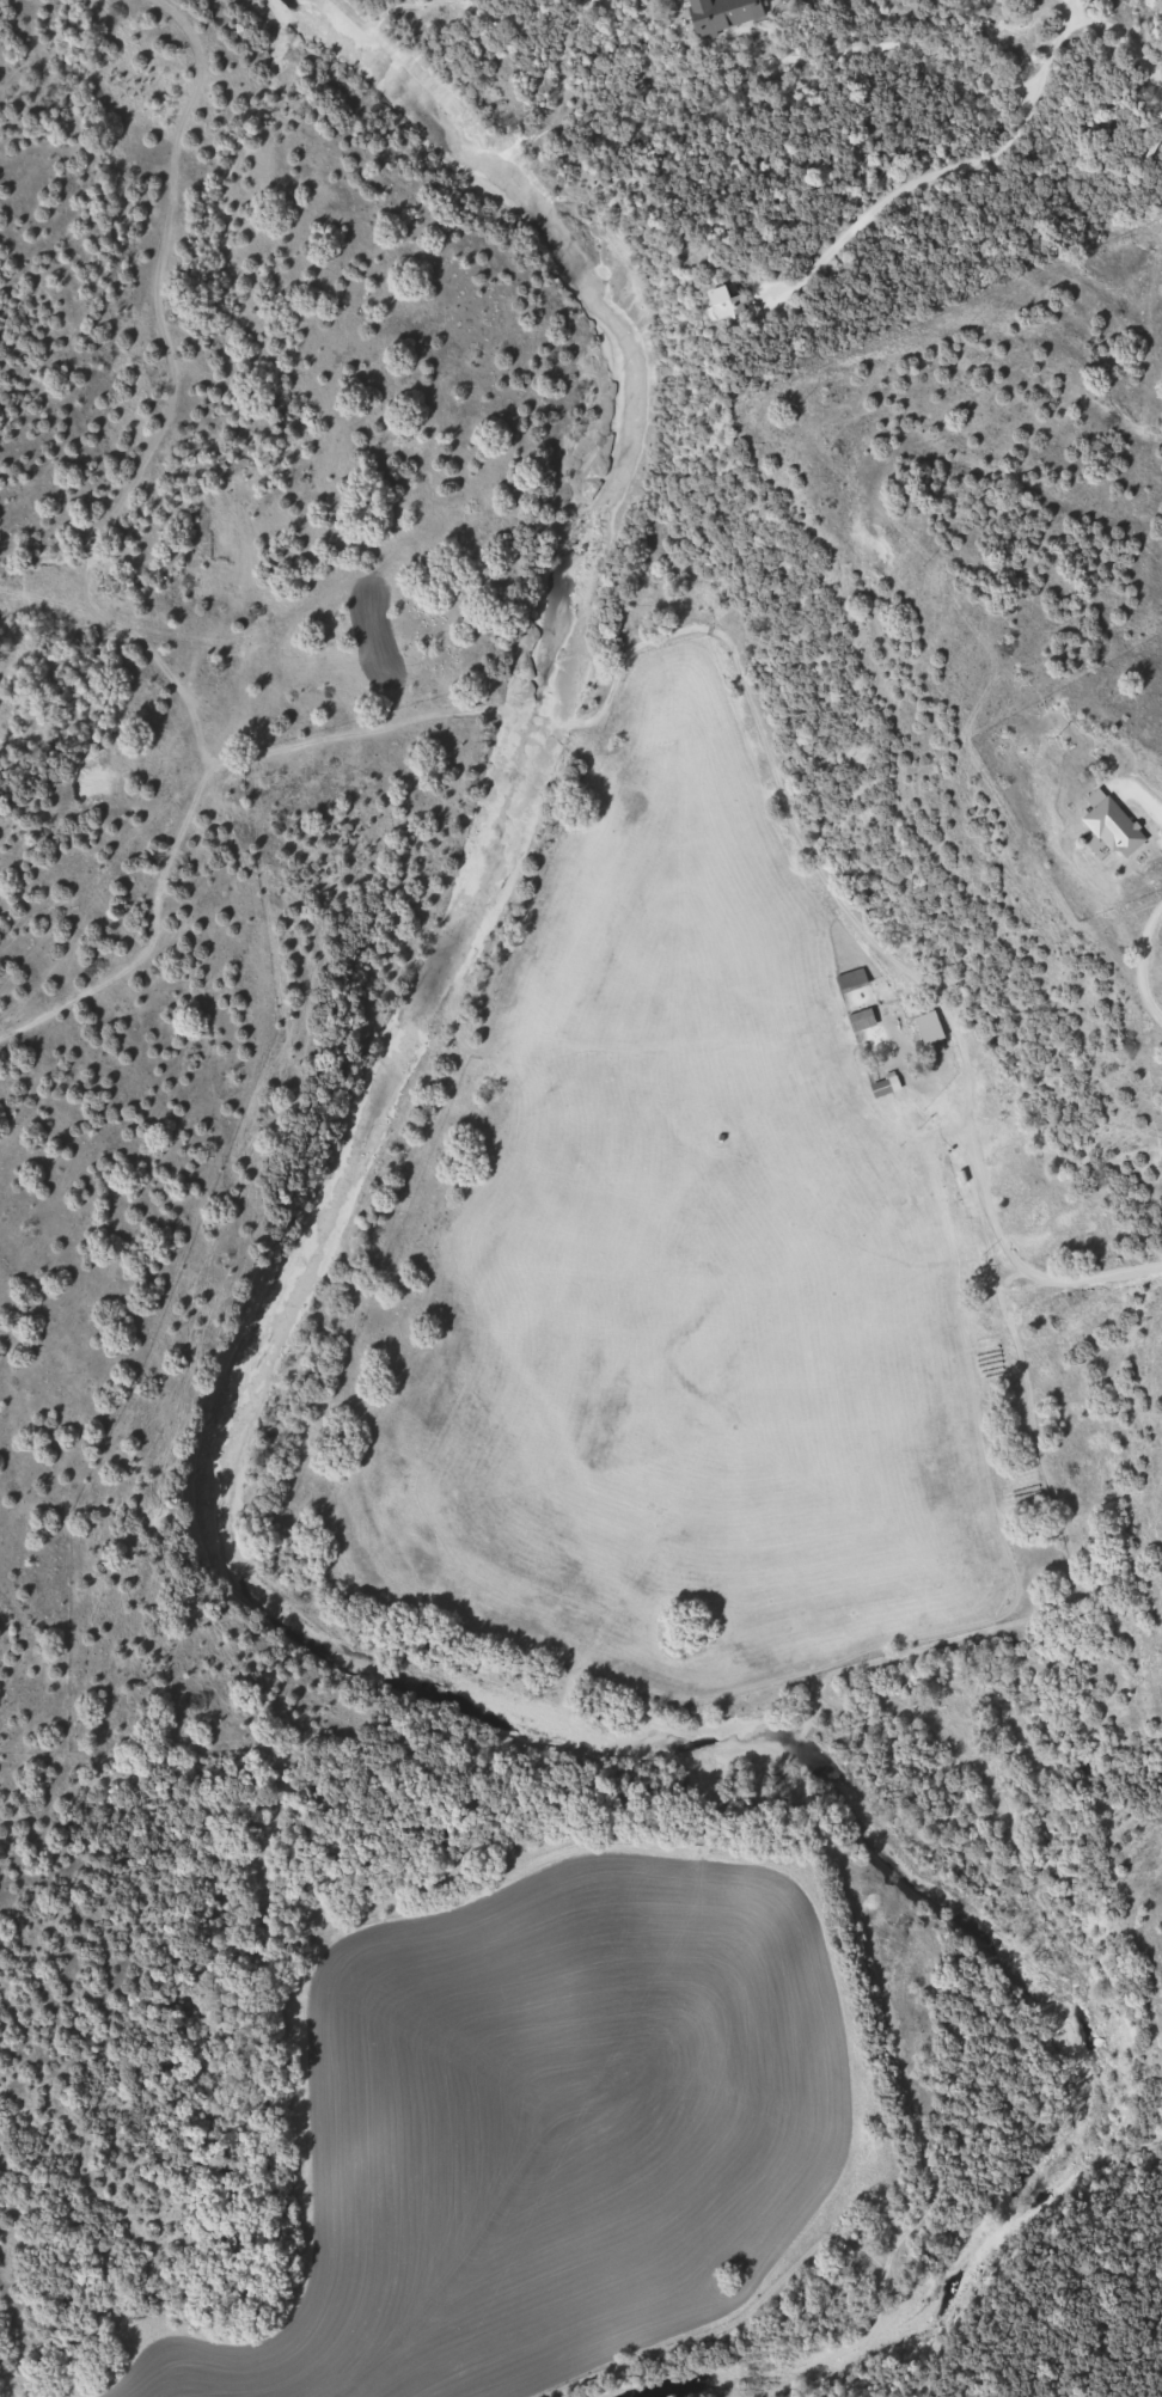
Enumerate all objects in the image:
building: (1002, 8)
building: (733, 16)
road: (992, 166)
building: (727, 305)
road: (1157, 807)
road: (1142, 961)
building: (855, 980)
building: (864, 1021)
building: (926, 1028)
building: (888, 1087)
road: (1005, 1235)

